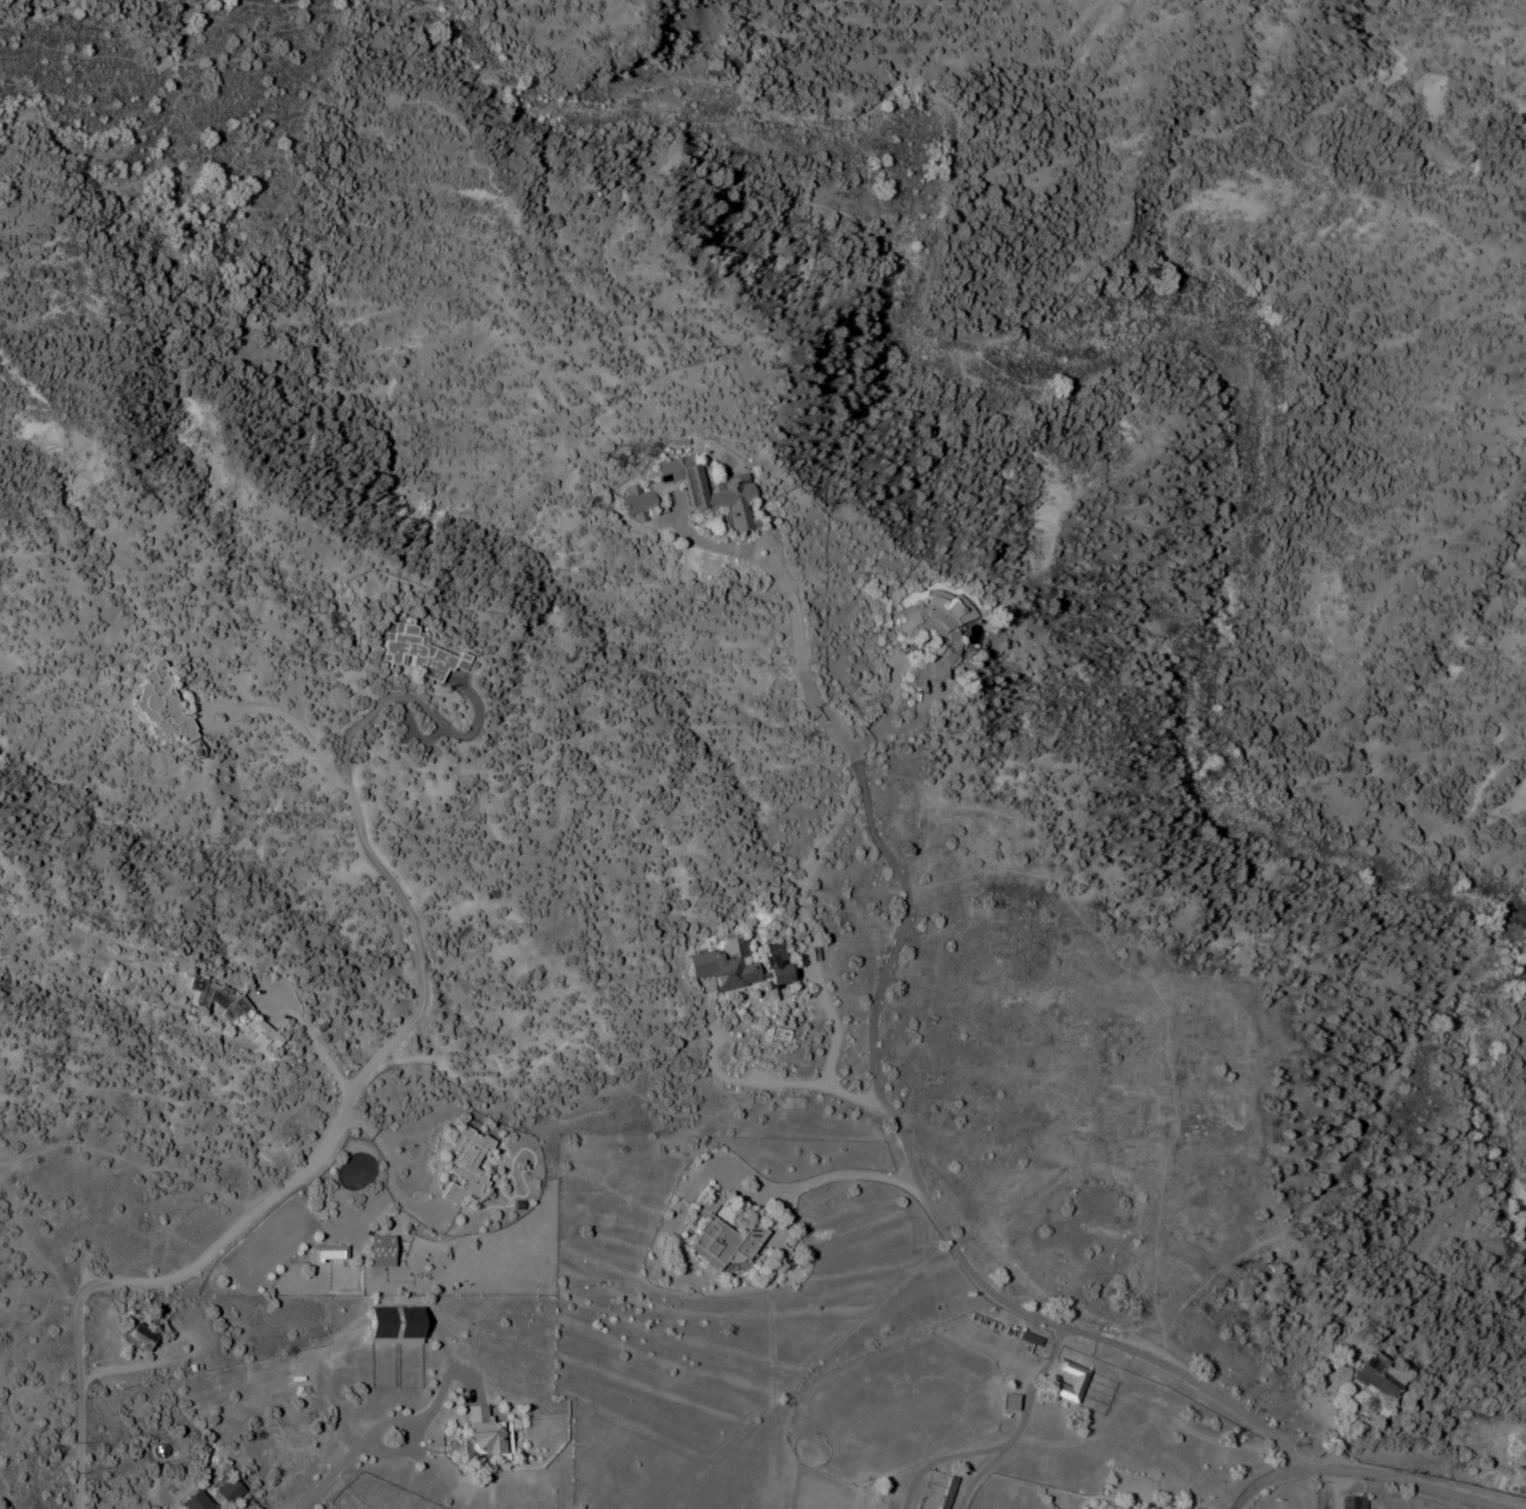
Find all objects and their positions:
building: (732, 492)
building: (635, 502)
building: (946, 611)
building: (420, 652)
building: (931, 670)
building: (779, 1034)
building: (263, 1035)
road: (329, 1054)
building: (462, 1164)
building: (720, 1234)
building: (378, 1249)
building: (326, 1252)
road: (210, 1253)
building: (393, 1324)
road: (1066, 1328)
building: (139, 1334)
building: (1029, 1337)
building: (1378, 1374)
building: (1049, 1381)
building: (485, 1433)
road: (322, 1476)
road: (1265, 1480)
building: (227, 1490)
building: (946, 1492)
building: (196, 1501)
building: (1351, 1502)
building: (1108, 1508)

